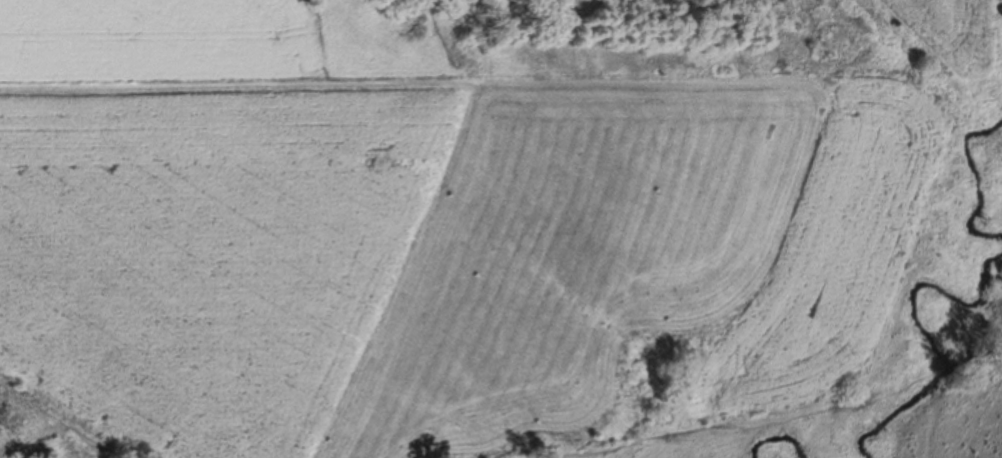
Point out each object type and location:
river: (973, 178)
river: (925, 338)
river: (776, 443)

